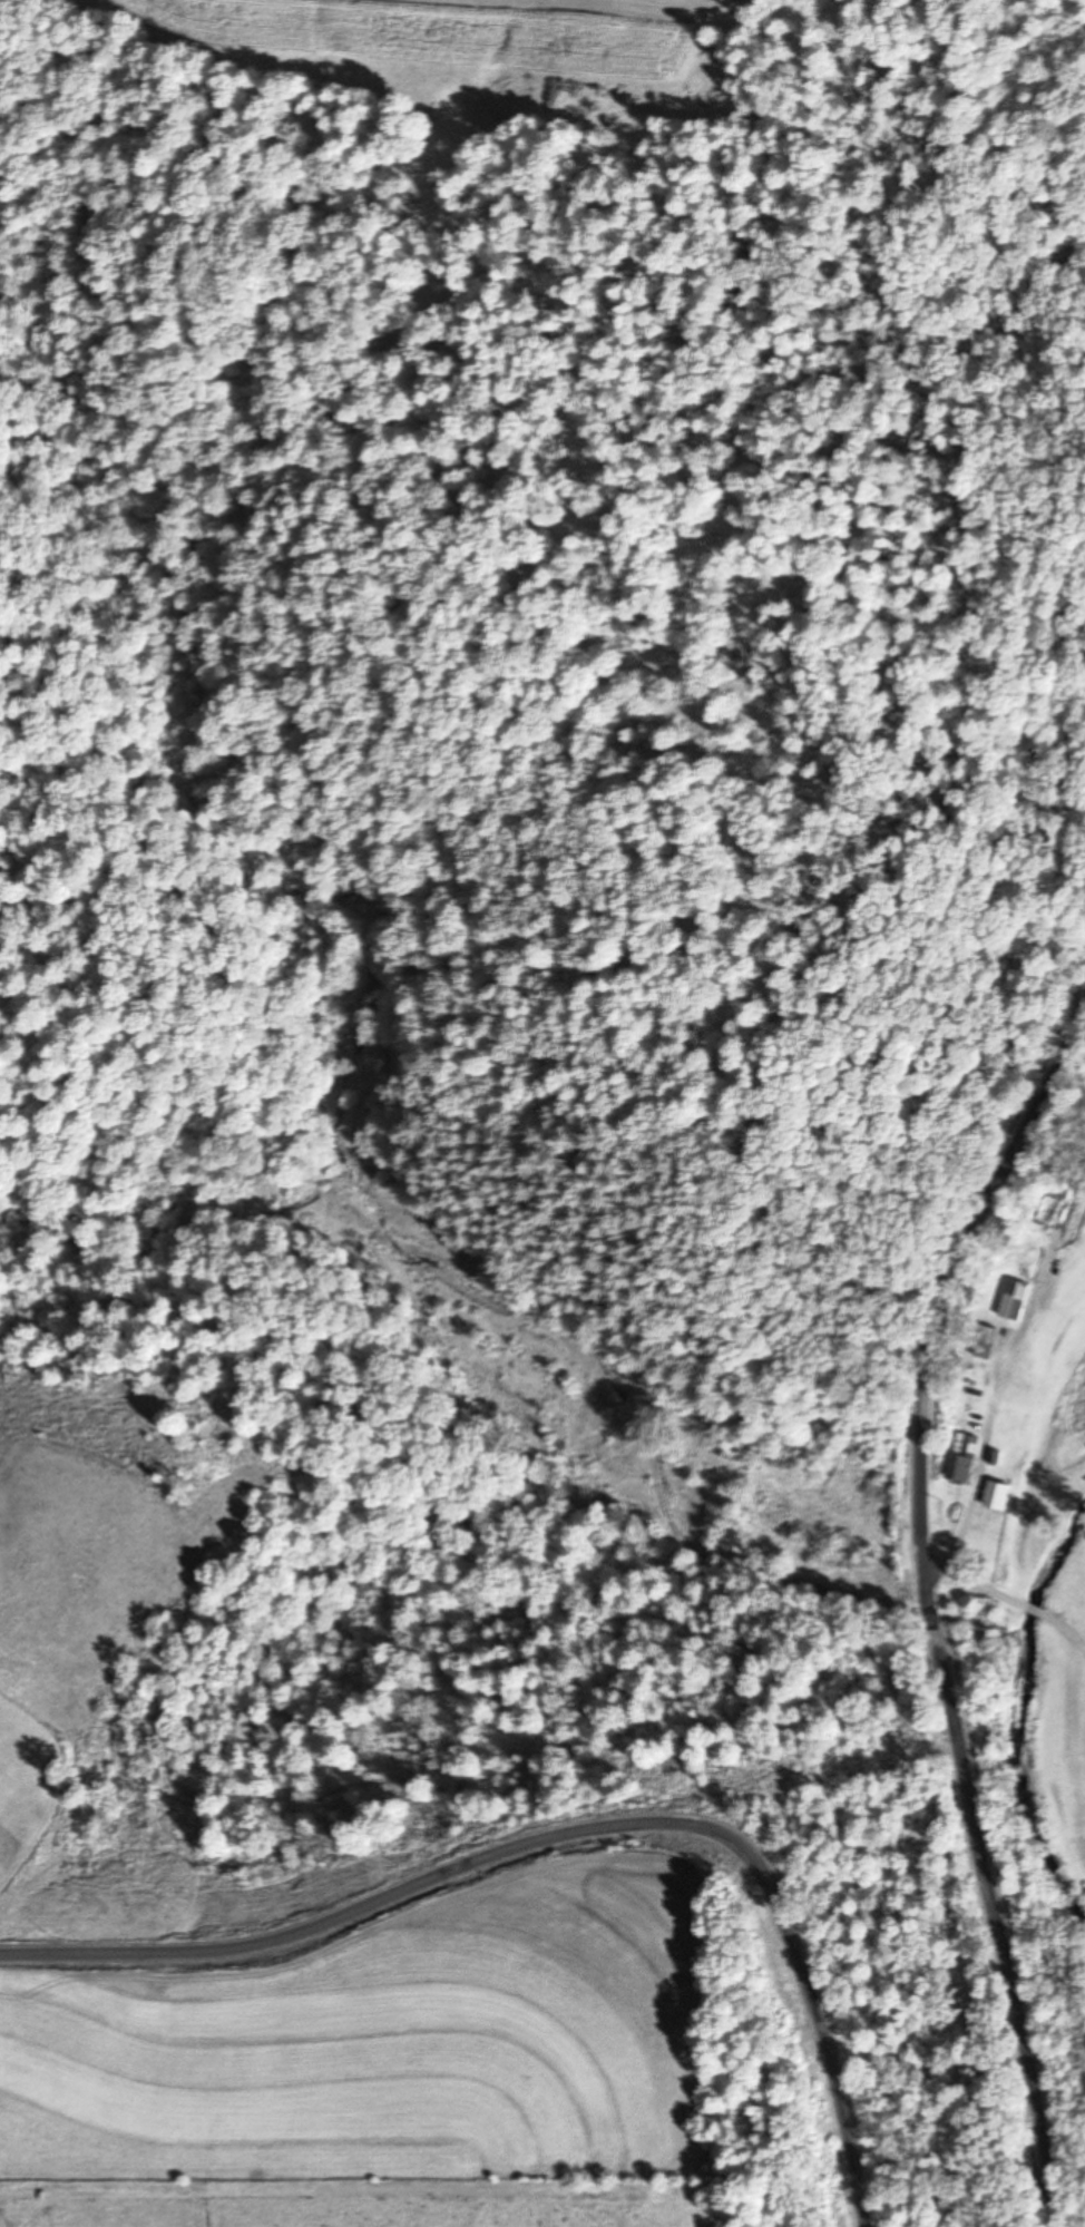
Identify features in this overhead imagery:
building: (1009, 1300)
building: (983, 1336)
building: (959, 1458)
building: (994, 1497)
road: (1005, 1524)
road: (935, 1615)
road: (565, 1844)

